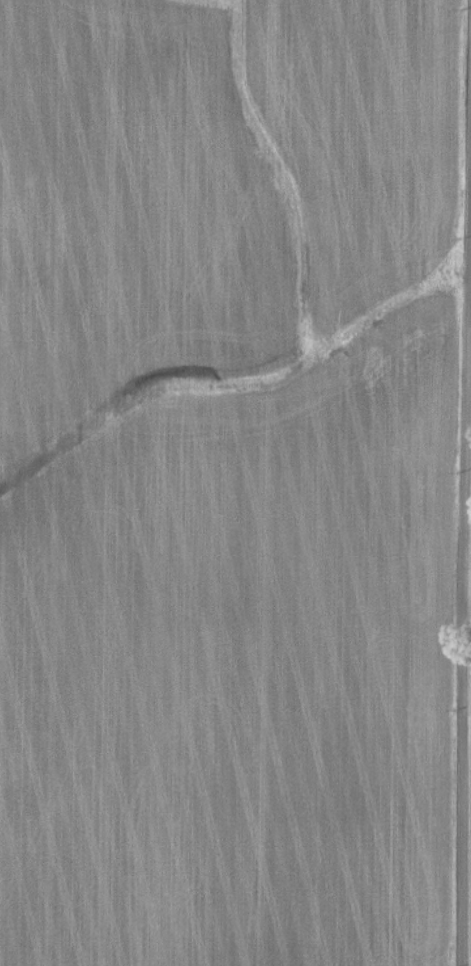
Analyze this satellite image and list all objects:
road: (464, 482)
road: (467, 528)
road: (467, 605)

